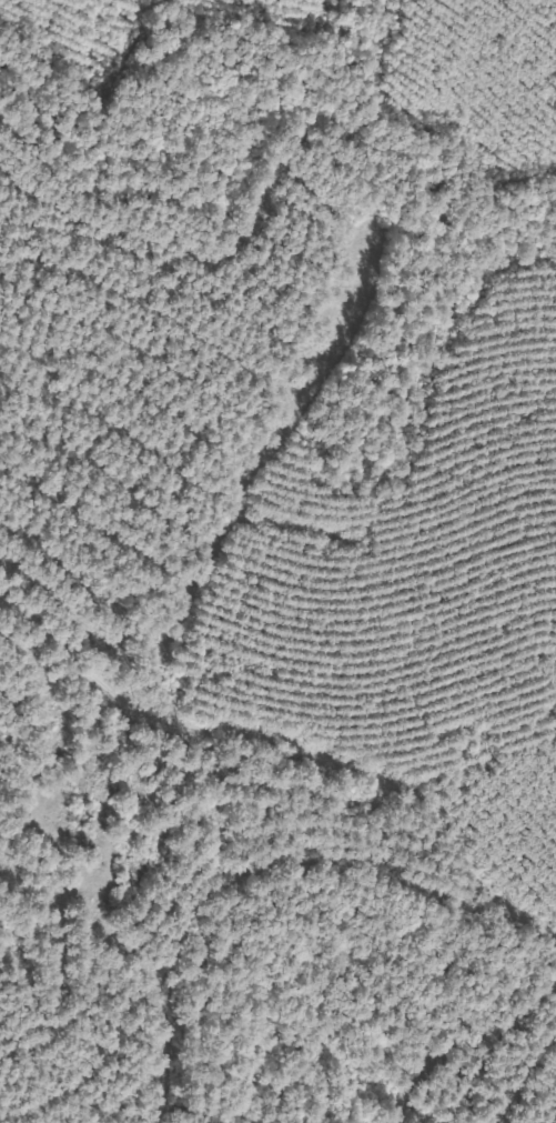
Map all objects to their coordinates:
road: (300, 799)

